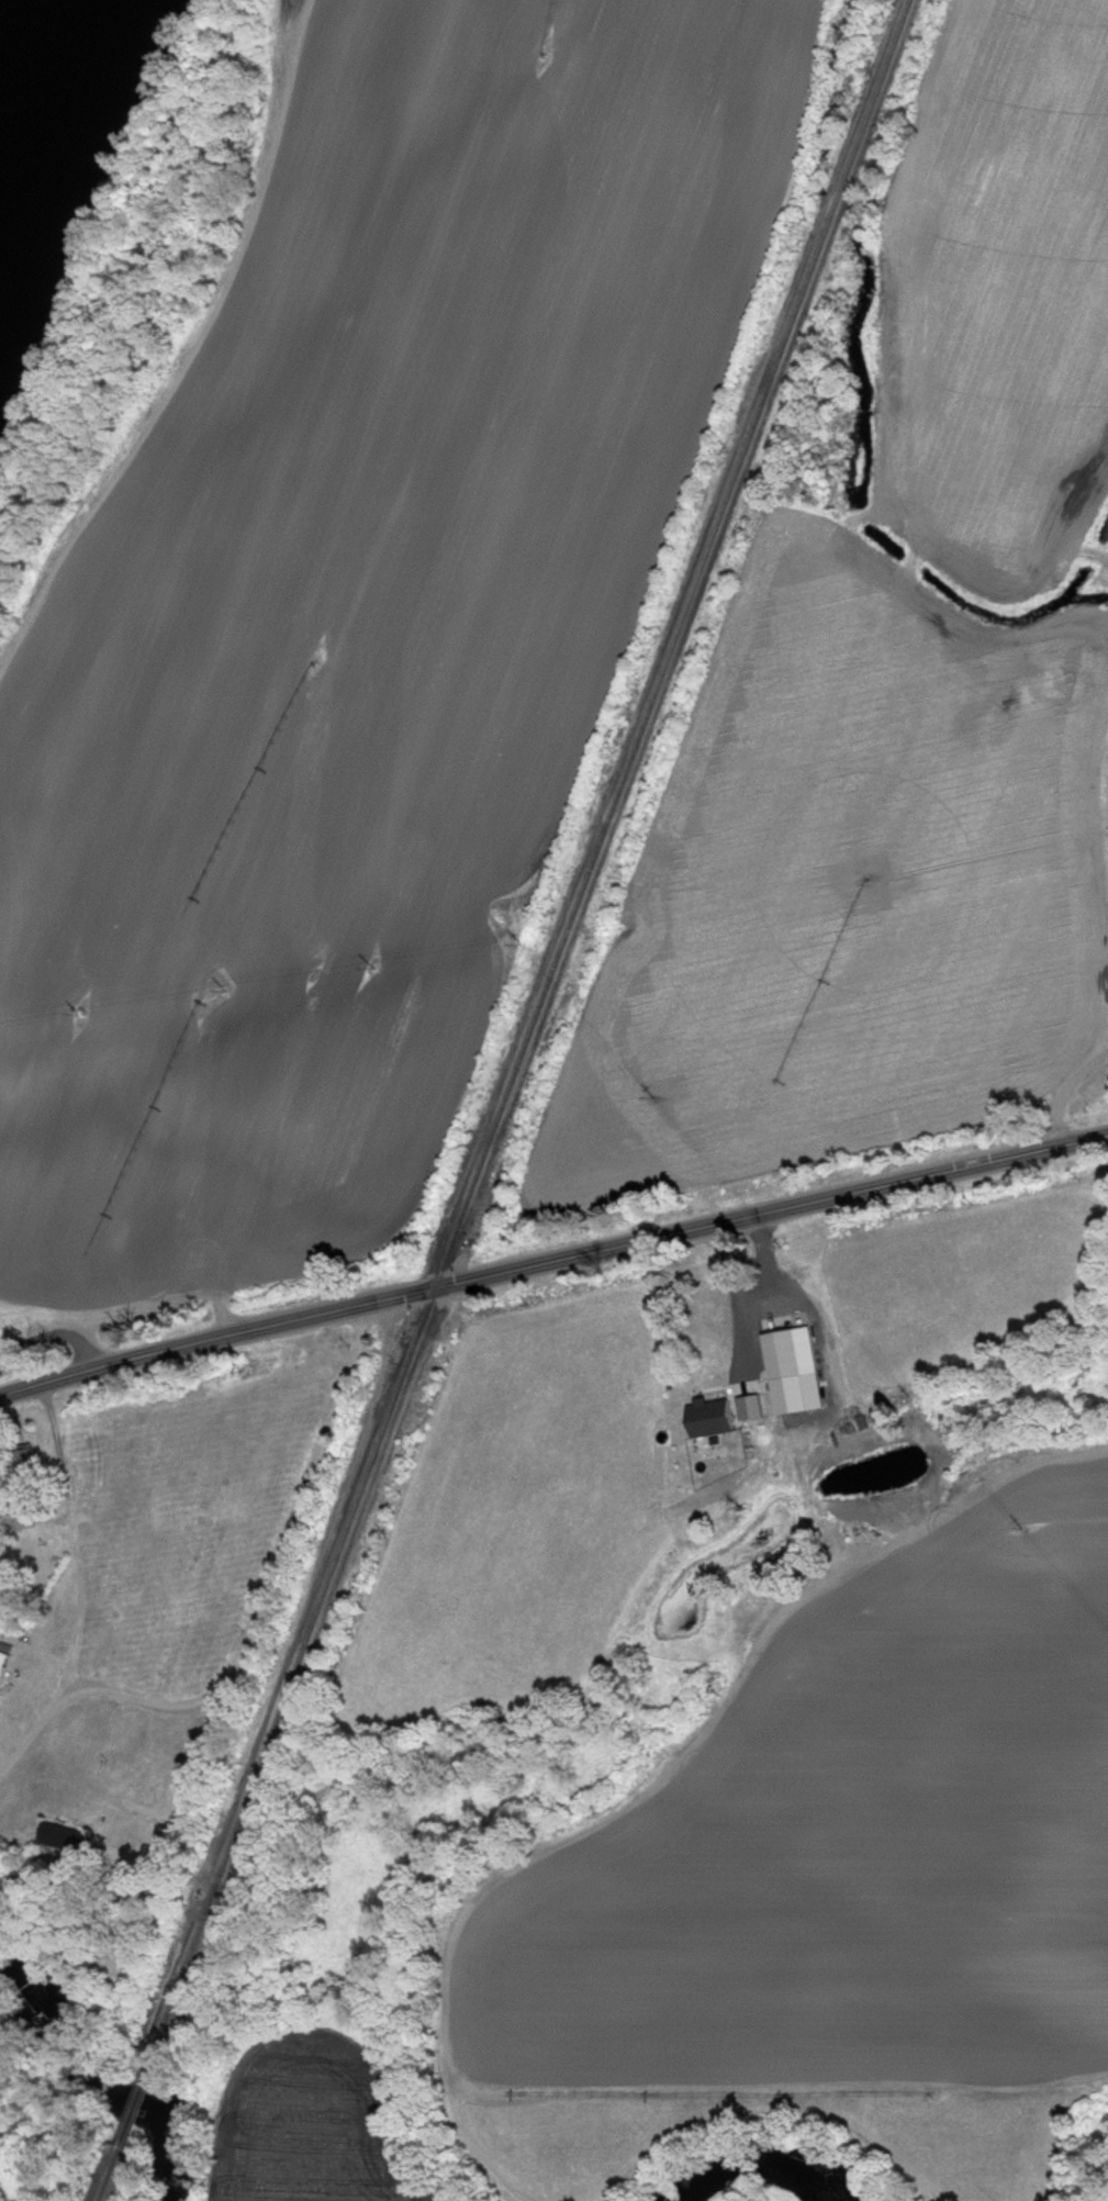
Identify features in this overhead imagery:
river: (29, 34)
railway: (526, 1026)
road: (1061, 1092)
road: (552, 1262)
road: (756, 1294)
building: (721, 1318)
building: (783, 1355)
road: (193, 1699)
road: (33, 1725)
road: (197, 1763)
building: (68, 1837)
river: (103, 2067)
railway: (135, 2099)
river: (758, 2166)
railway: (108, 2172)

